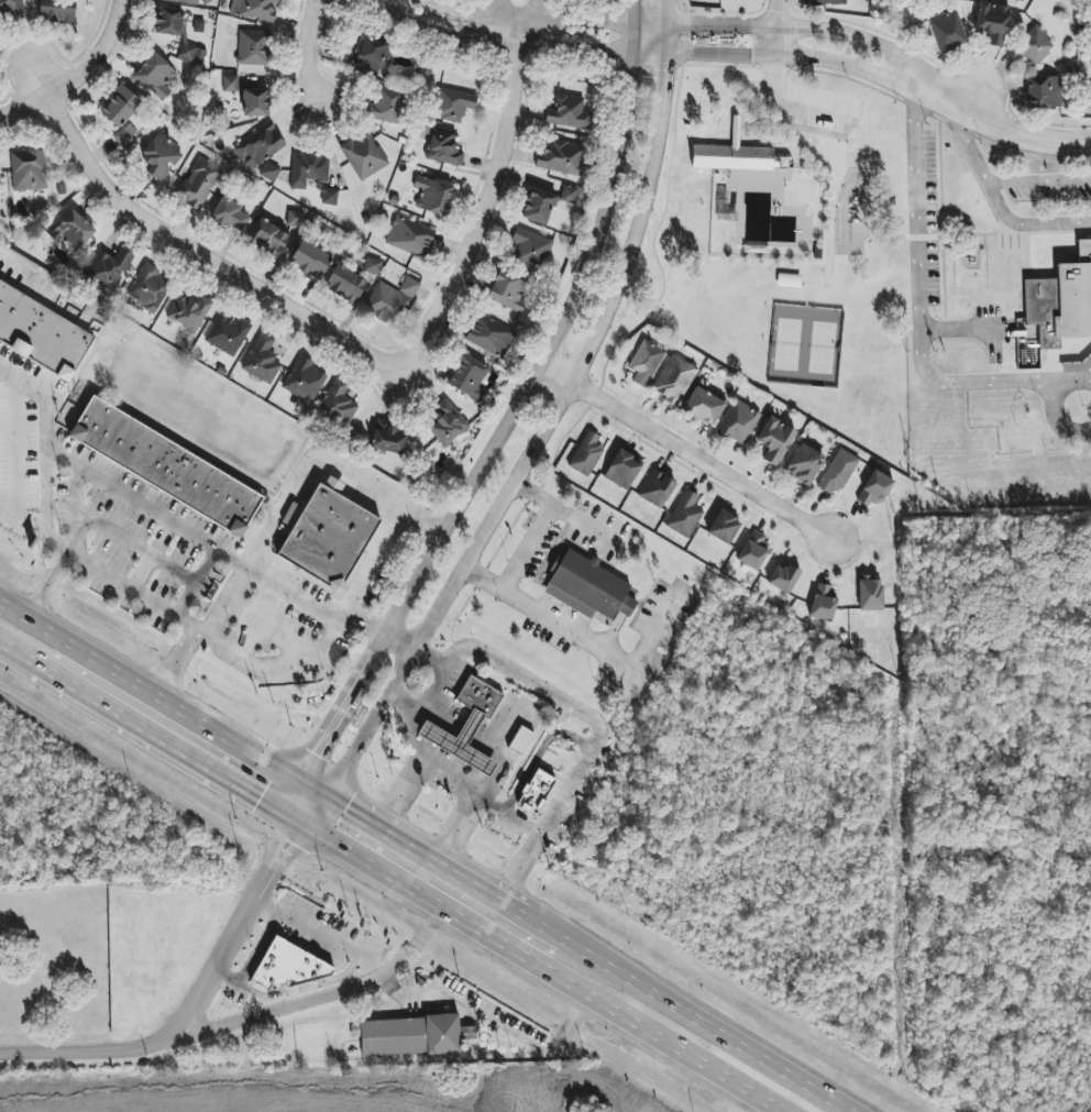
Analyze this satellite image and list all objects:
building: (185, 1)
building: (827, 1)
building: (10, 9)
building: (255, 9)
building: (56, 11)
road: (531, 19)
road: (508, 20)
building: (168, 21)
building: (992, 22)
road: (775, 23)
building: (947, 31)
road: (745, 46)
building: (1035, 46)
building: (252, 47)
building: (191, 54)
building: (371, 55)
road: (99, 56)
road: (317, 57)
building: (155, 76)
building: (230, 84)
road: (980, 89)
building: (1043, 92)
building: (256, 102)
building: (452, 104)
building: (386, 106)
building: (120, 107)
building: (1090, 107)
road: (26, 111)
building: (569, 112)
building: (124, 135)
building: (260, 144)
building: (443, 146)
building: (364, 155)
road: (835, 155)
building: (161, 156)
building: (561, 157)
building: (738, 159)
building: (308, 168)
building: (27, 170)
building: (268, 172)
road: (1040, 180)
building: (198, 183)
building: (432, 195)
building: (569, 195)
building: (330, 197)
road: (998, 199)
road: (493, 206)
building: (538, 206)
building: (231, 214)
building: (295, 219)
building: (71, 231)
building: (410, 236)
building: (267, 238)
road: (191, 245)
park: (782, 246)
building: (531, 247)
building: (309, 260)
building: (373, 266)
building: (108, 268)
road: (24, 273)
building: (789, 280)
building: (345, 284)
building: (409, 287)
building: (148, 288)
building: (508, 291)
road: (919, 299)
building: (1060, 299)
building: (385, 304)
building: (188, 312)
road: (966, 329)
building: (41, 333)
building: (228, 334)
building: (489, 335)
building: (262, 360)
building: (644, 362)
building: (469, 378)
building: (674, 379)
building: (305, 381)
road: (40, 396)
building: (338, 401)
building: (703, 406)
road: (1056, 407)
road: (517, 410)
road: (549, 420)
building: (738, 422)
building: (448, 425)
road: (19, 437)
building: (387, 439)
building: (774, 440)
road: (690, 453)
building: (586, 454)
road: (15, 459)
road: (56, 459)
road: (322, 462)
building: (804, 464)
building: (165, 466)
building: (622, 469)
building: (838, 472)
building: (657, 488)
building: (874, 489)
road: (42, 506)
road: (147, 511)
building: (685, 514)
road: (580, 524)
building: (724, 527)
building: (328, 537)
road: (386, 539)
road: (521, 543)
road: (137, 547)
building: (754, 551)
building: (783, 577)
road: (121, 585)
building: (587, 586)
road: (355, 593)
building: (870, 593)
road: (299, 596)
road: (214, 597)
building: (824, 603)
road: (398, 647)
road: (599, 650)
road: (16, 652)
road: (272, 664)
road: (155, 698)
road: (403, 704)
road: (416, 714)
road: (588, 719)
building: (466, 725)
building: (520, 739)
road: (165, 741)
road: (449, 774)
building: (536, 792)
traffic signals: (312, 793)
road: (305, 806)
traffic signals: (297, 821)
road: (417, 854)
road: (541, 928)
road: (320, 933)
building: (291, 966)
road: (540, 966)
road: (287, 1005)
road: (194, 1006)
road: (495, 1024)
road: (703, 1026)
building: (412, 1035)

